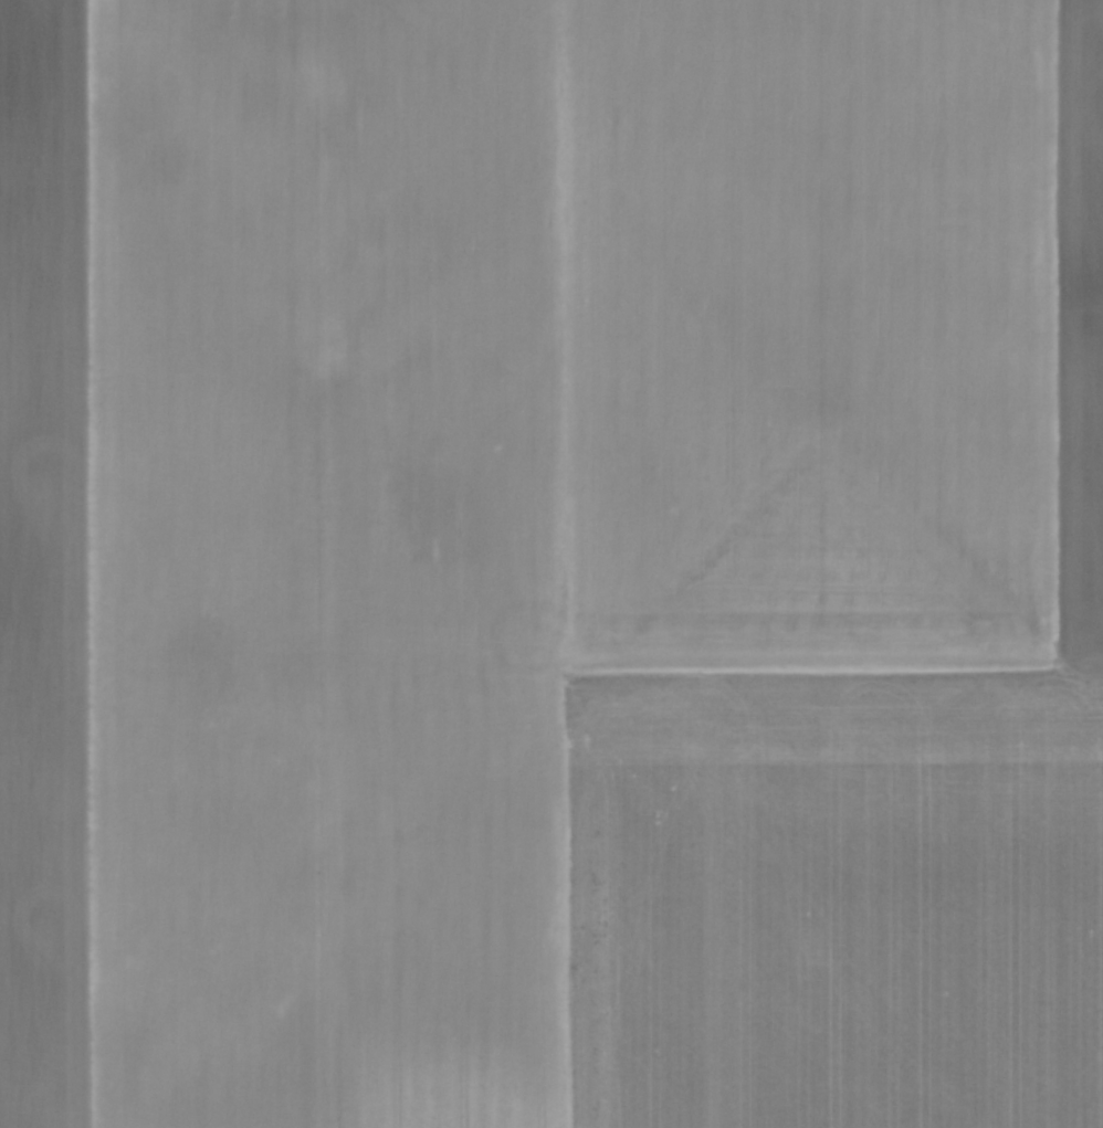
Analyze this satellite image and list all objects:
crop: (551, 563)

